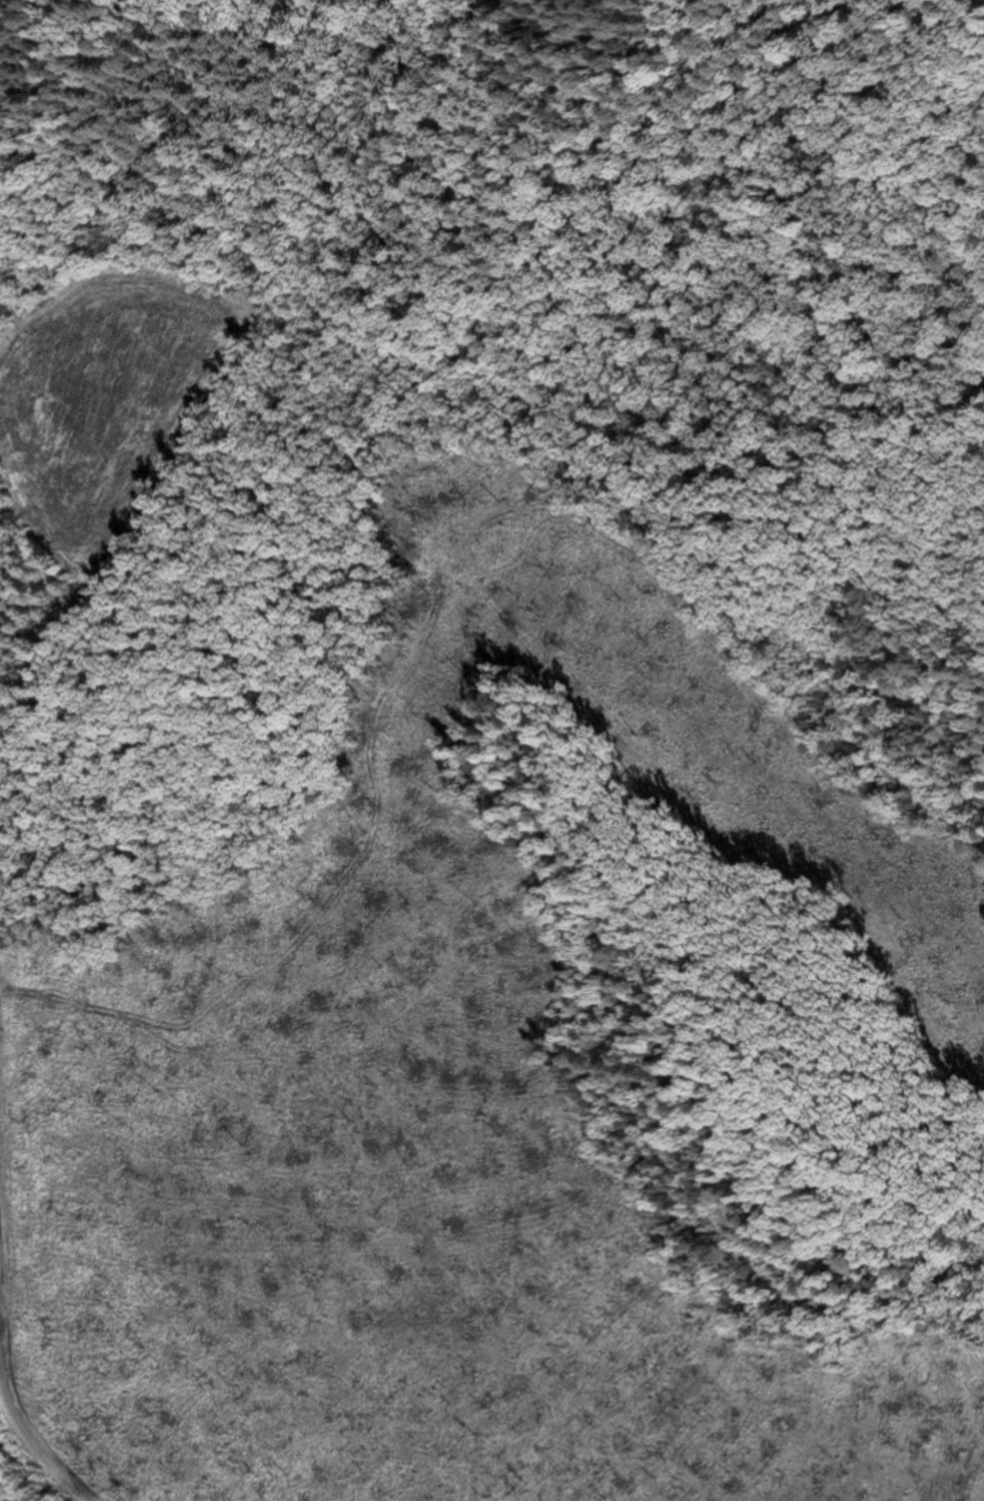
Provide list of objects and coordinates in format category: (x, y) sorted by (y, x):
road: (27, 1420)

